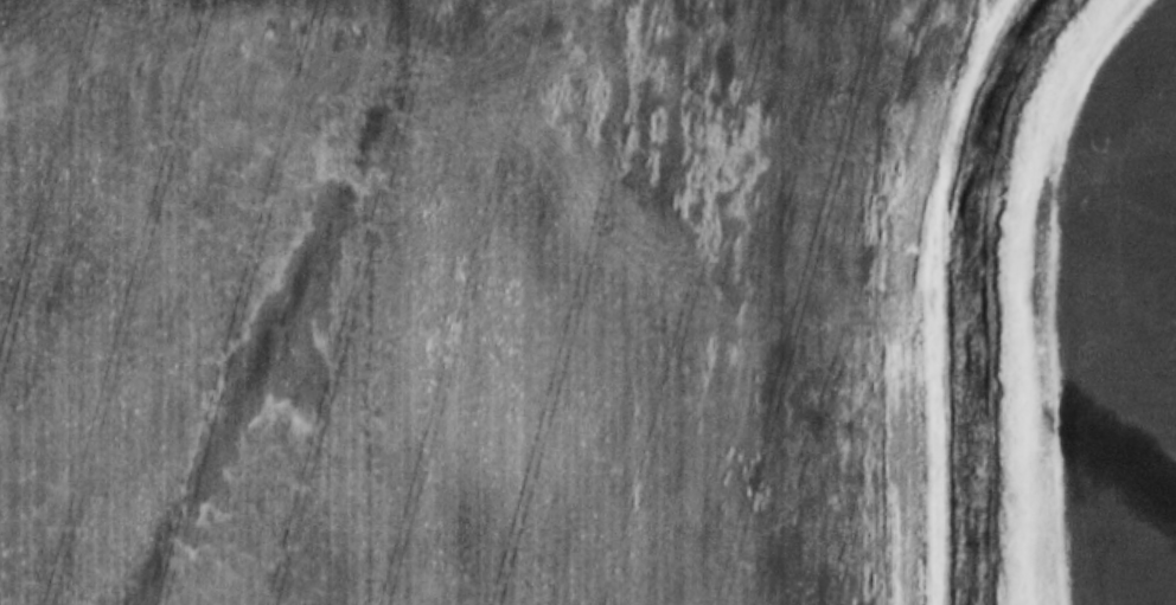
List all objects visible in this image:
crop: (468, 300)
crop: (1124, 323)

